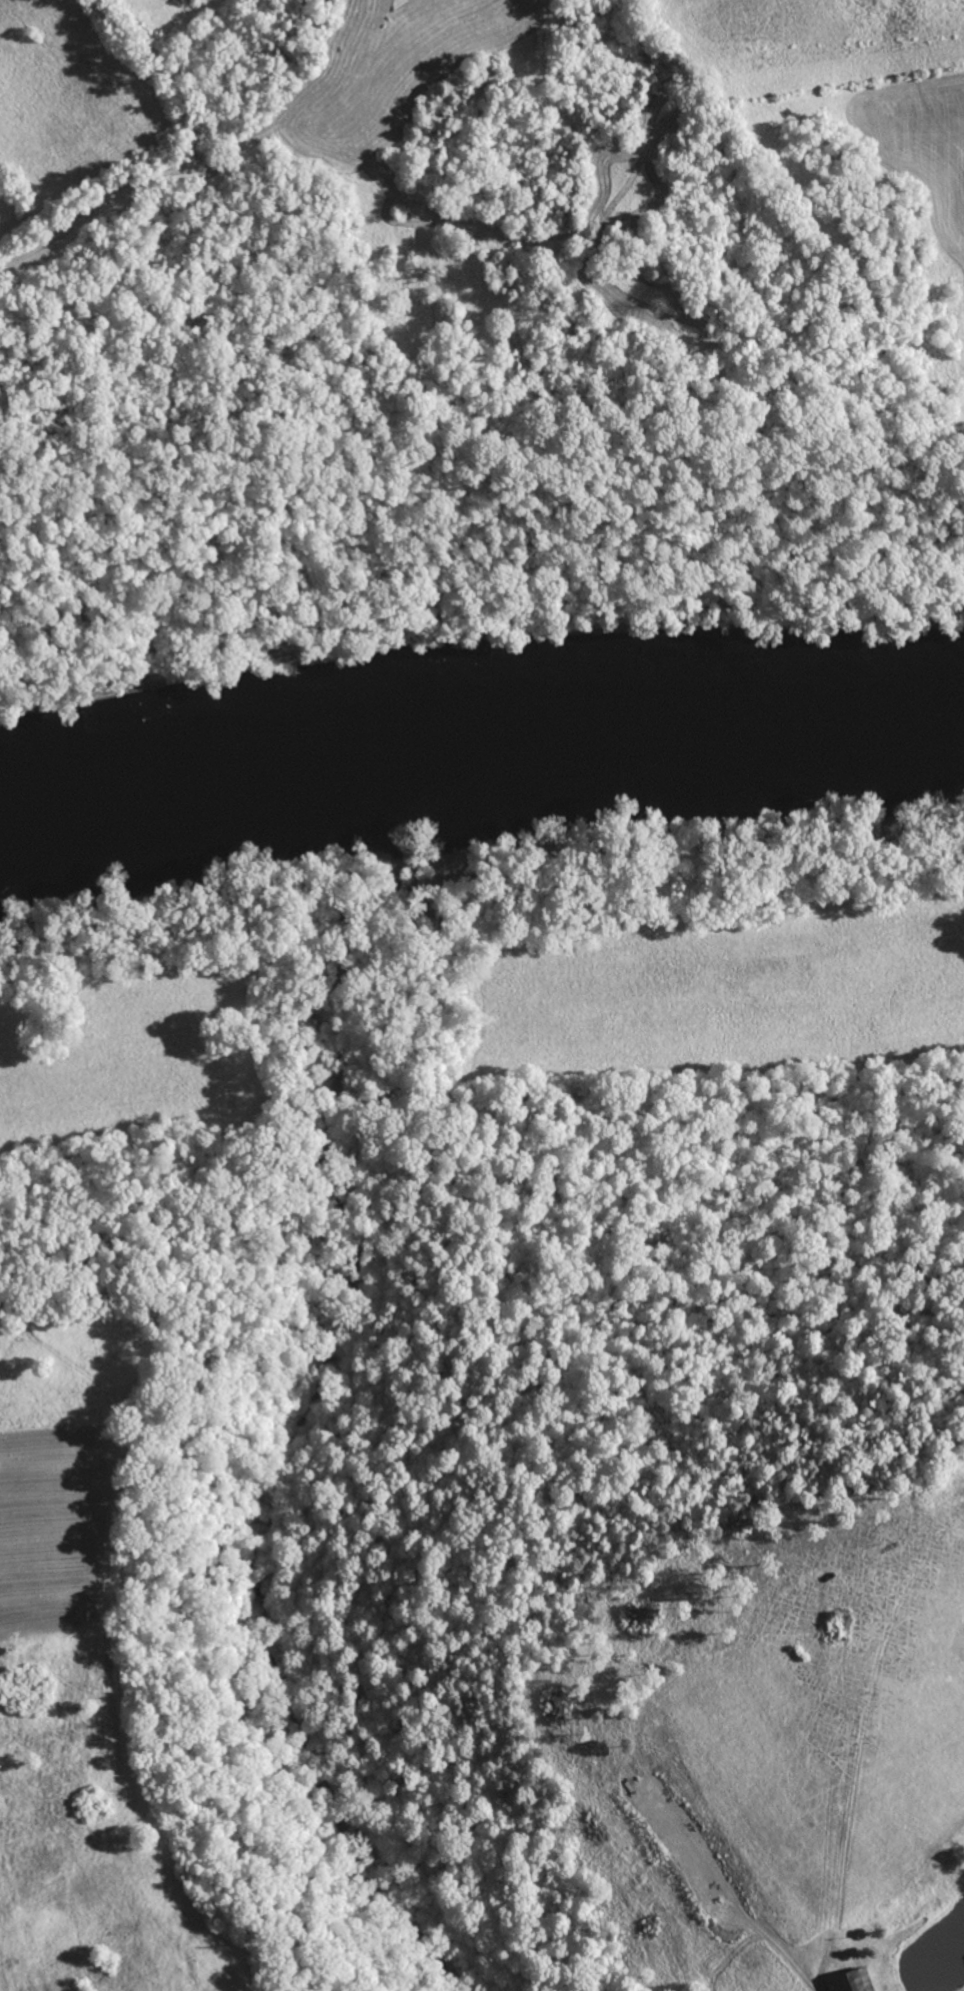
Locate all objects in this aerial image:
river: (478, 734)
road: (780, 1949)
building: (855, 1981)

